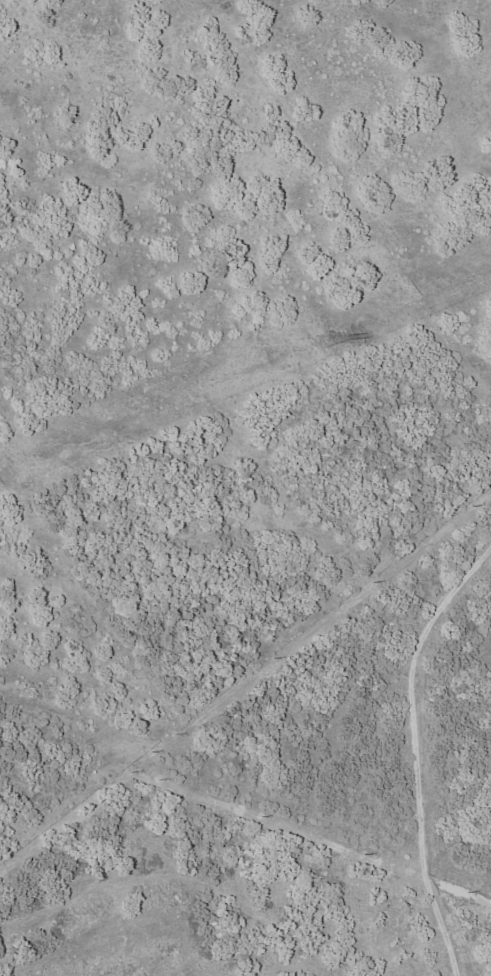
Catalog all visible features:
power tower: (325, 345)

